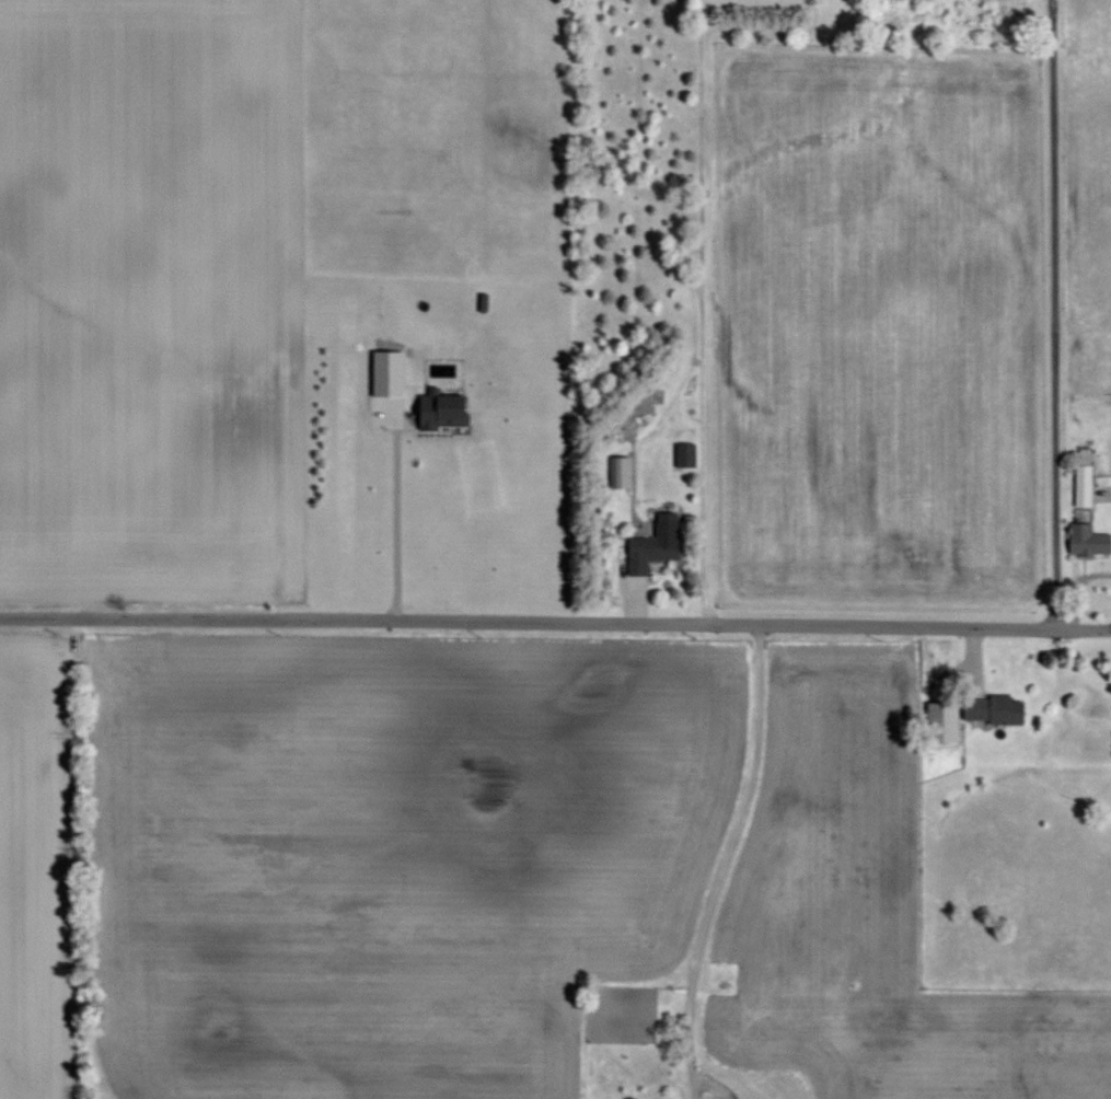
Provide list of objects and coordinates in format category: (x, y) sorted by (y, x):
road: (707, 265)
road: (1050, 314)
building: (442, 410)
building: (621, 473)
building: (1084, 477)
road: (404, 512)
building: (1087, 542)
building: (656, 546)
road: (555, 622)
building: (992, 710)
building: (941, 722)
road: (722, 861)

